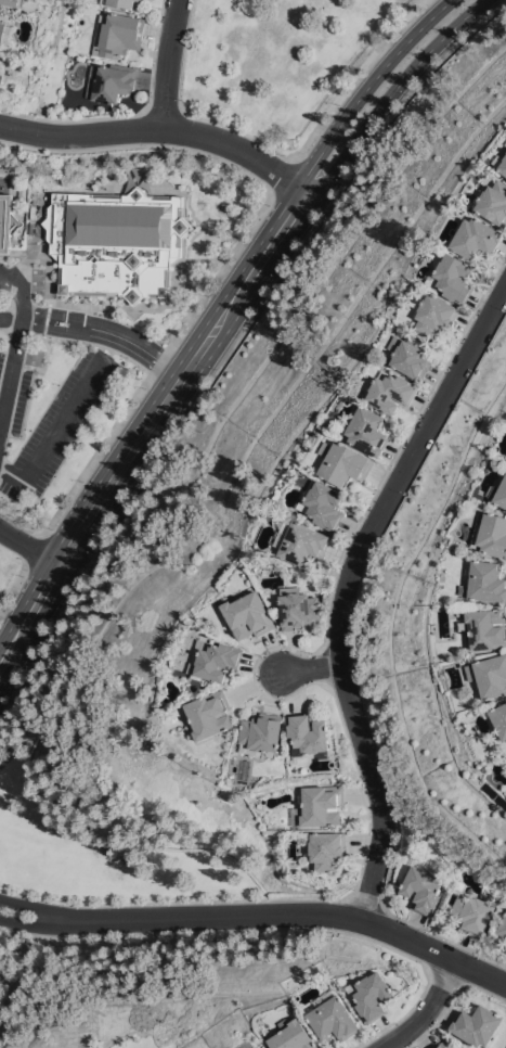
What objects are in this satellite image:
building: (139, 0)
building: (14, 2)
building: (119, 3)
building: (5, 33)
building: (118, 34)
park: (276, 59)
road: (167, 63)
building: (2, 69)
building: (108, 81)
road: (366, 86)
road: (391, 90)
road: (166, 127)
road: (141, 144)
road: (283, 154)
building: (501, 163)
building: (473, 166)
building: (483, 174)
road: (283, 177)
building: (494, 202)
building: (5, 221)
building: (476, 238)
building: (116, 242)
road: (283, 244)
building: (453, 278)
road: (21, 301)
building: (434, 312)
road: (102, 328)
road: (87, 341)
road: (235, 341)
road: (107, 355)
building: (412, 355)
road: (155, 362)
road: (11, 368)
road: (172, 370)
road: (183, 373)
building: (392, 392)
building: (367, 429)
road: (56, 430)
road: (157, 430)
building: (343, 462)
building: (499, 493)
building: (323, 504)
building: (490, 534)
building: (300, 541)
road: (34, 548)
road: (35, 549)
building: (486, 580)
road: (13, 586)
road: (346, 587)
road: (52, 599)
road: (25, 600)
building: (297, 608)
building: (248, 615)
building: (484, 628)
road: (17, 655)
building: (215, 659)
road: (311, 668)
building: (489, 675)
building: (210, 714)
building: (499, 718)
building: (309, 733)
building: (261, 734)
building: (320, 805)
building: (328, 849)
building: (420, 886)
road: (181, 902)
road: (39, 908)
road: (299, 912)
building: (472, 915)
road: (39, 925)
building: (503, 926)
road: (228, 930)
building: (505, 947)
building: (505, 950)
building: (372, 995)
road: (427, 1011)
building: (333, 1017)
building: (477, 1024)
building: (294, 1036)
building: (441, 1046)
building: (258, 1047)
building: (449, 1047)

